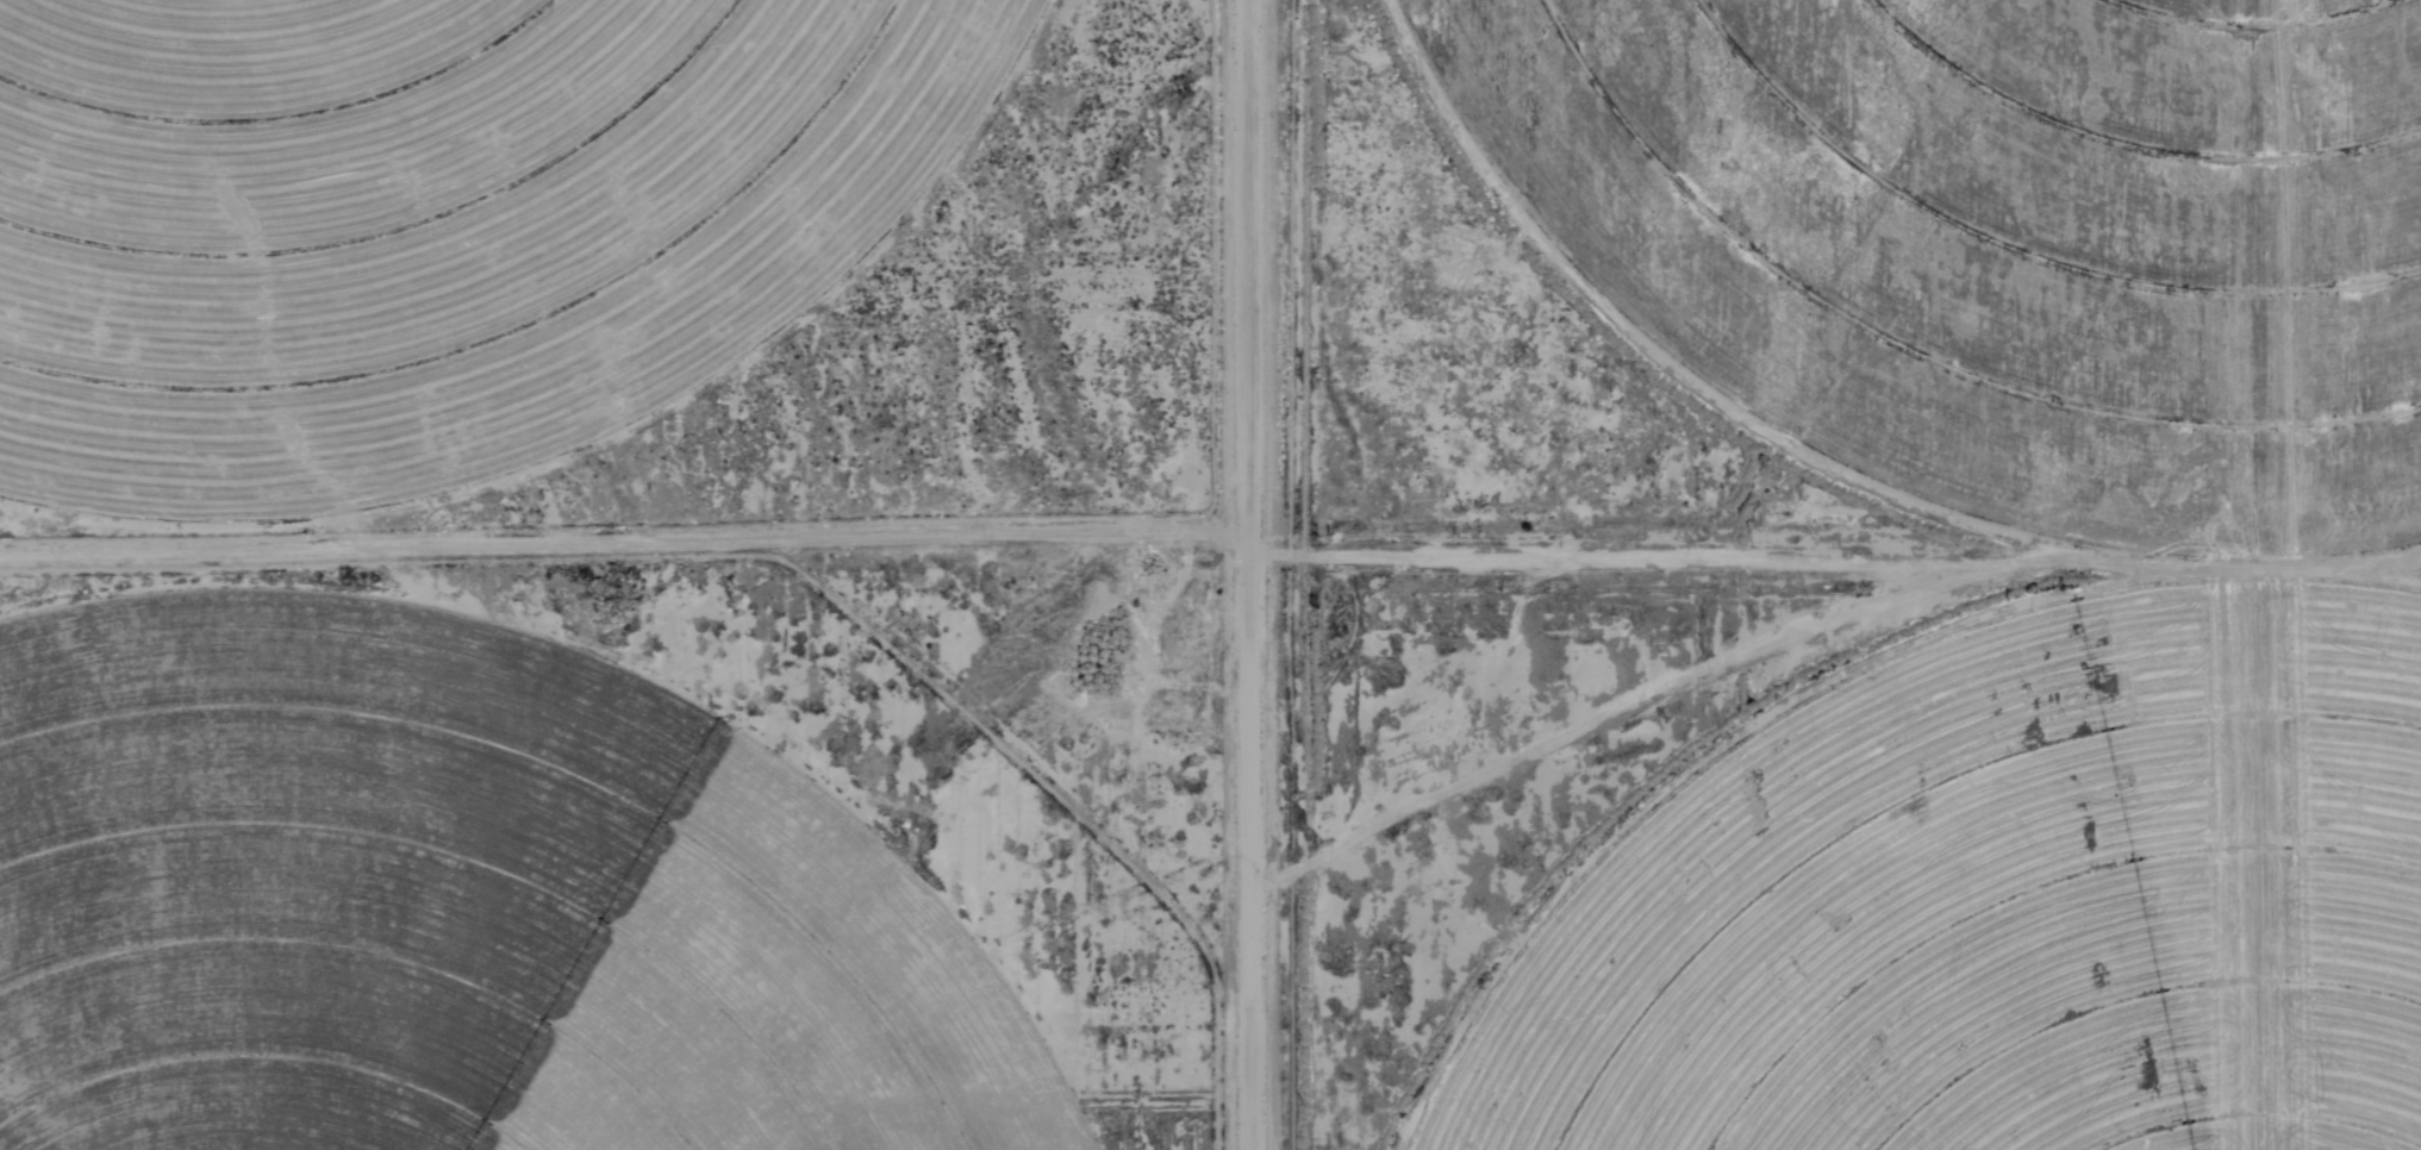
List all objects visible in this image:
crop: (428, 218)
road: (1673, 557)
road: (1222, 574)
crop: (2232, 576)
crop: (447, 911)

